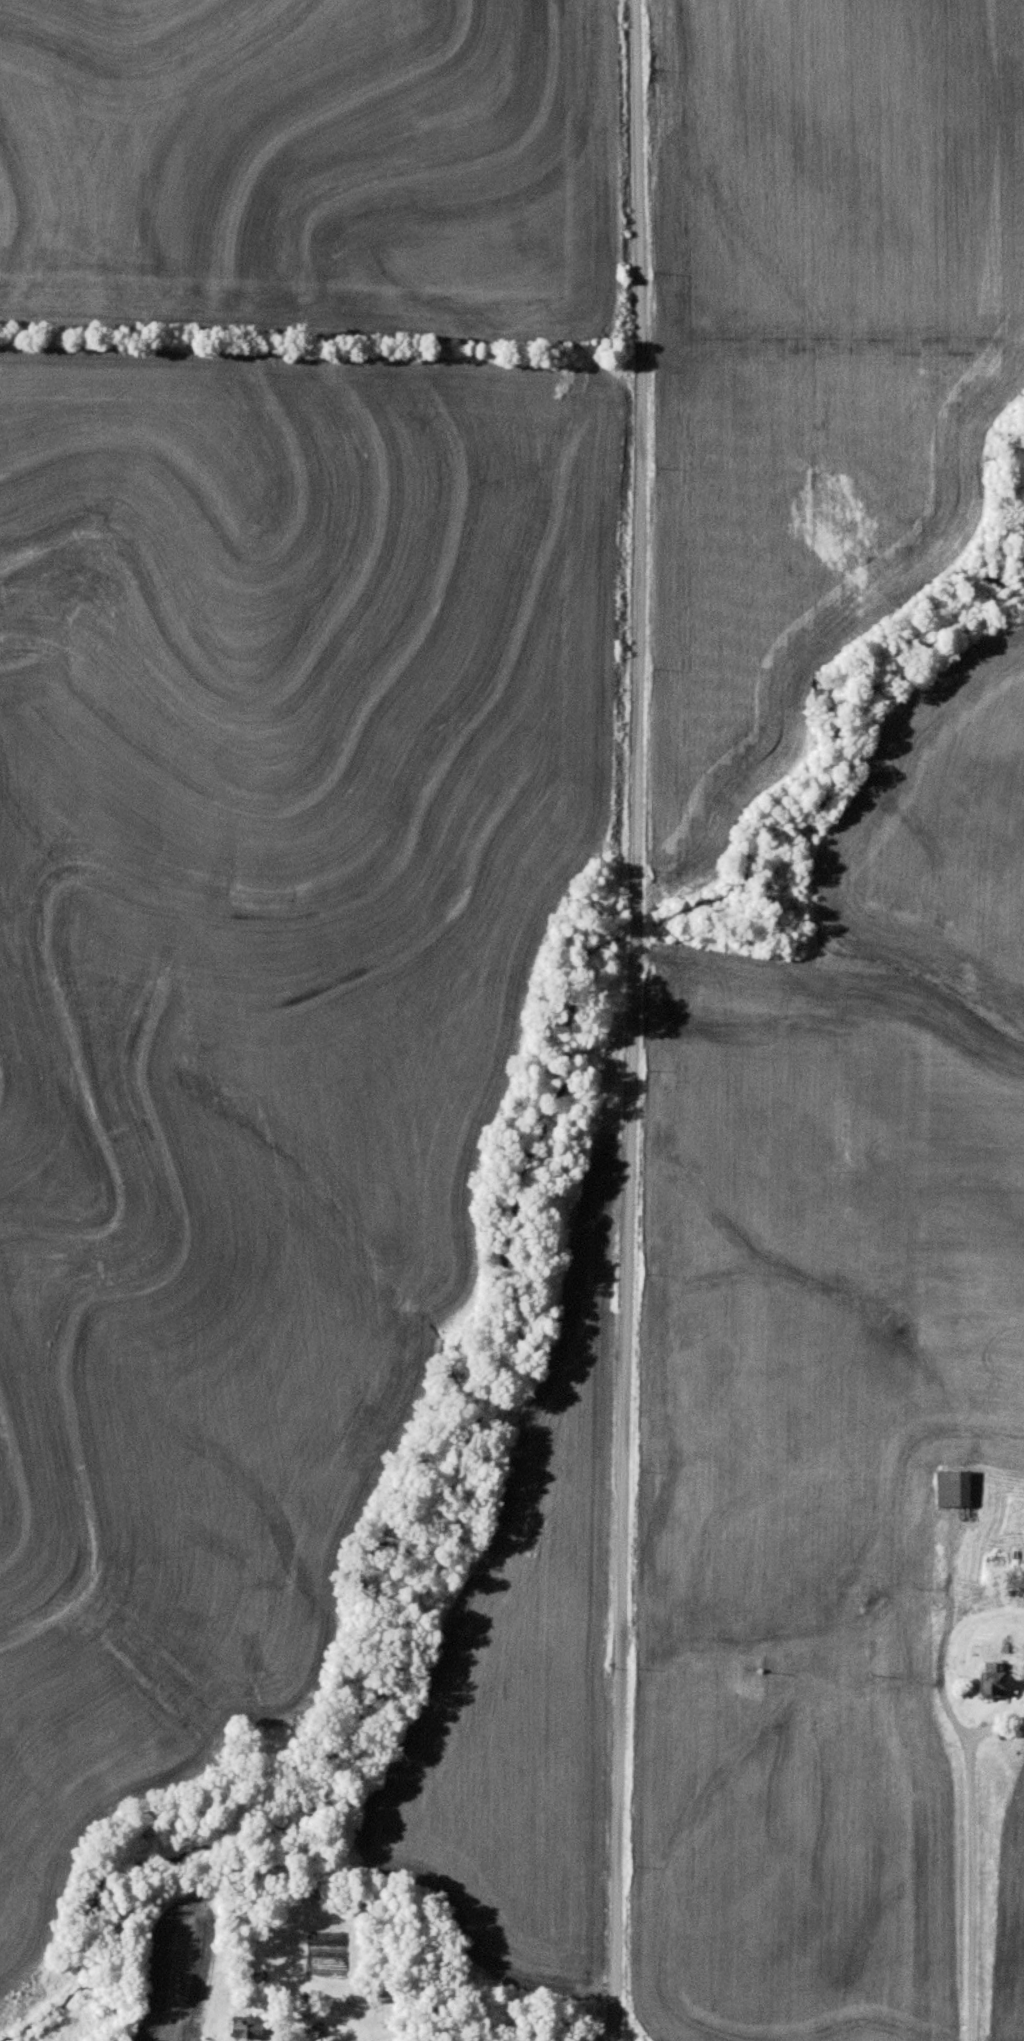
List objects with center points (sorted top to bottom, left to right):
road: (636, 1020)
building: (950, 1486)
building: (989, 1678)
road: (977, 1830)

